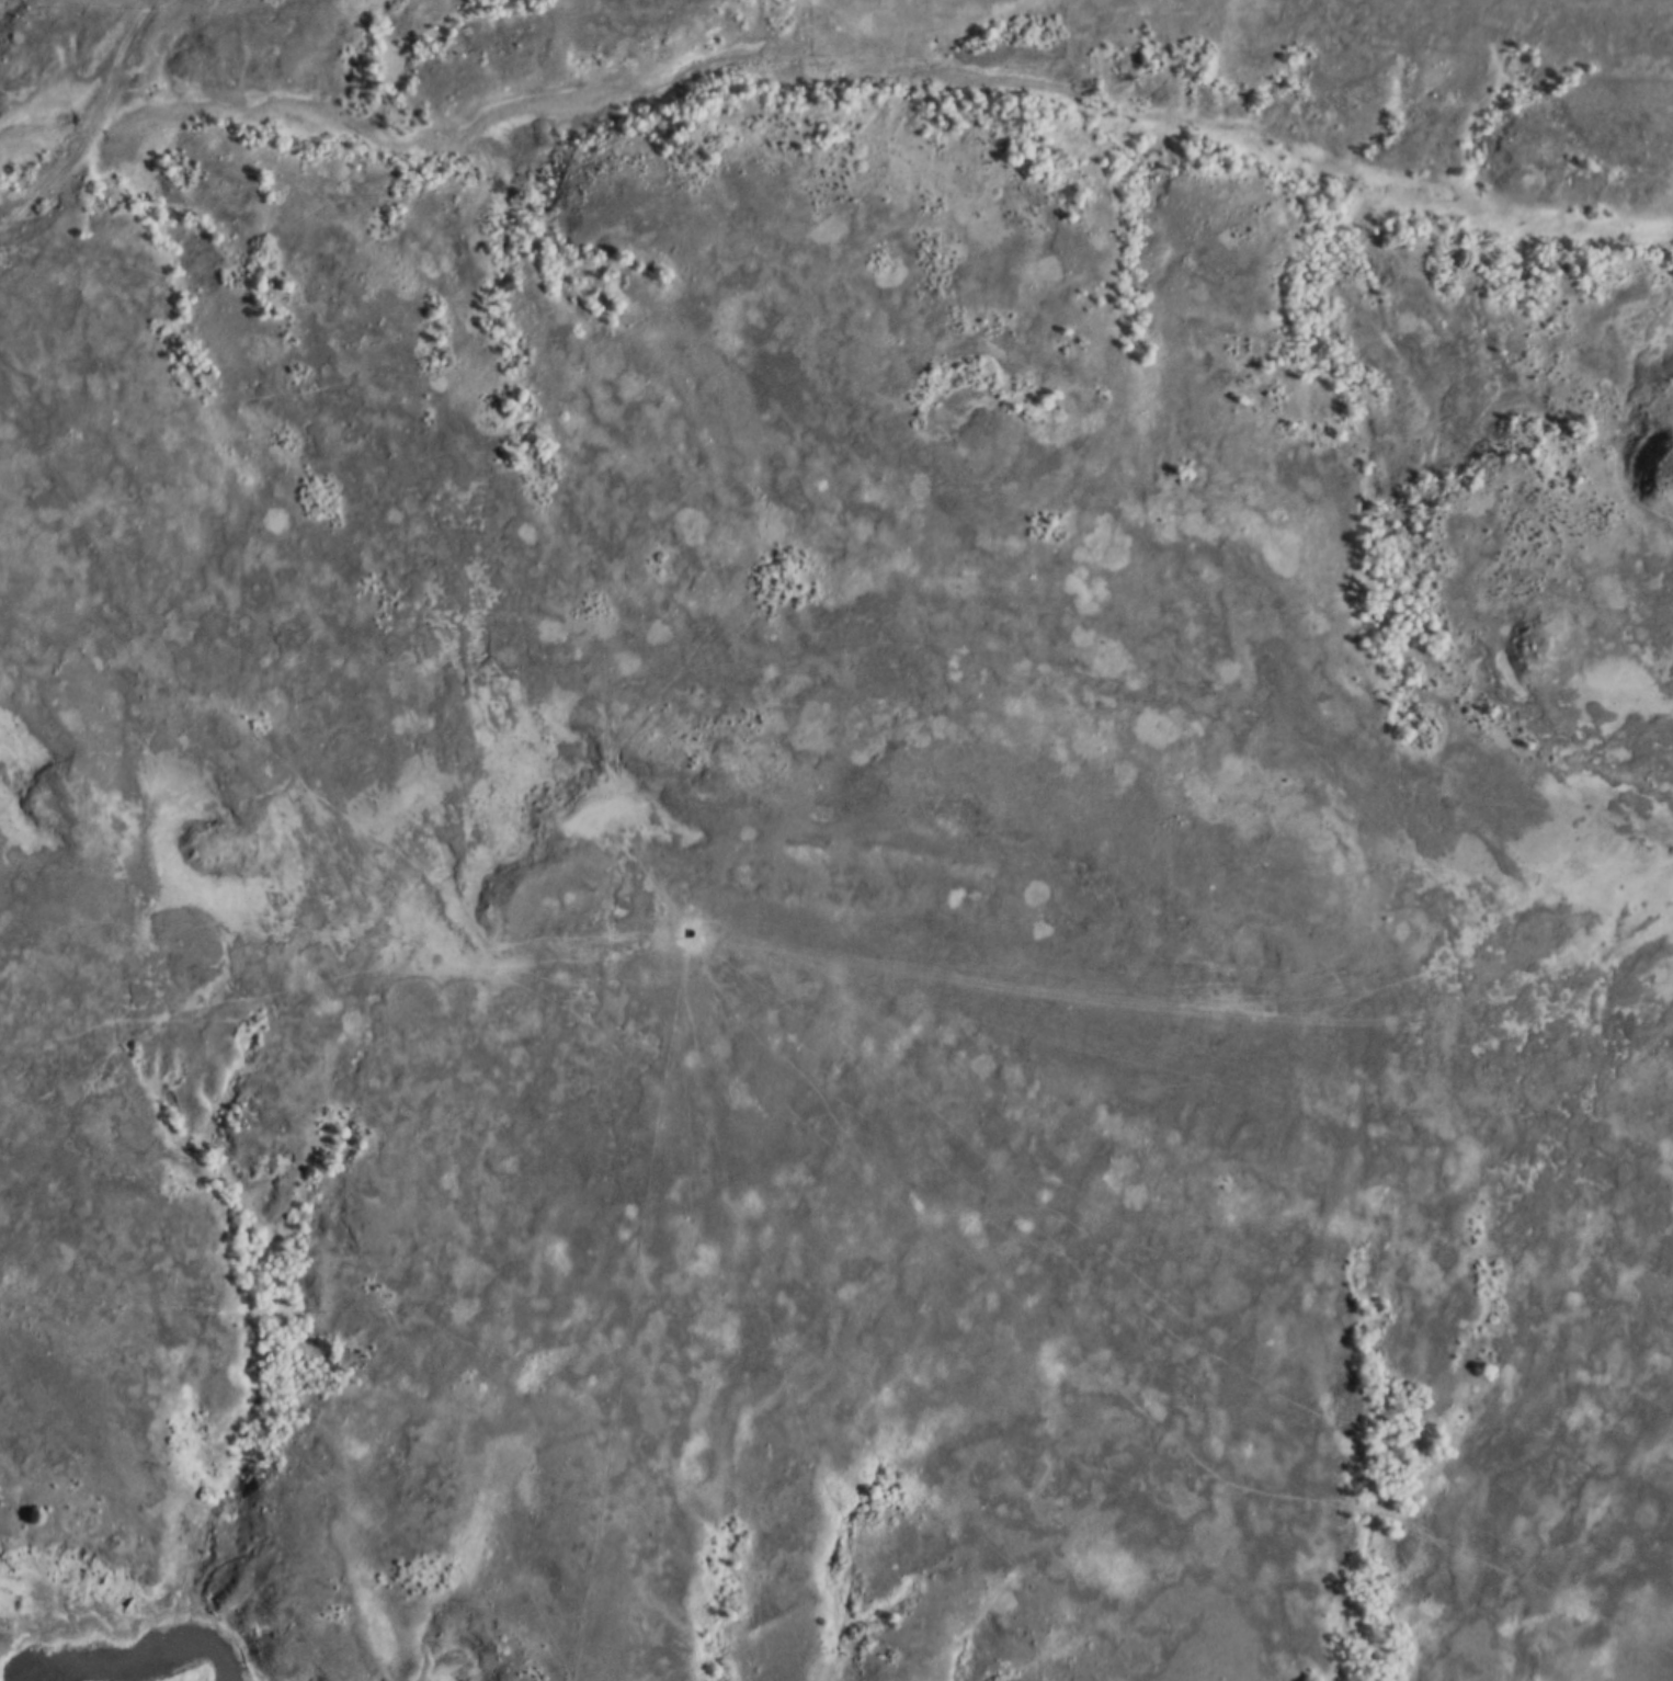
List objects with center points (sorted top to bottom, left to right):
road: (88, 121)

